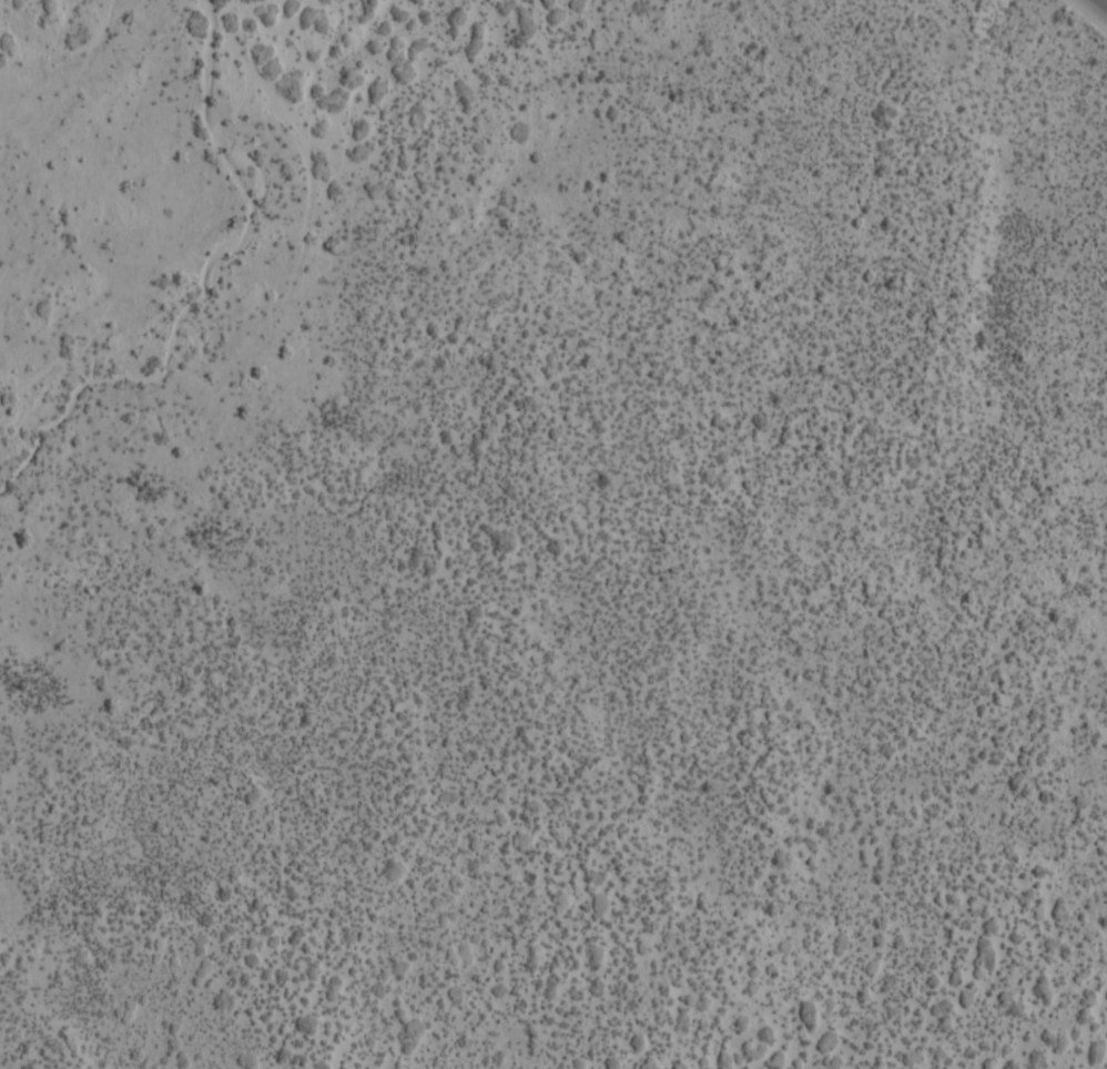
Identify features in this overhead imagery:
road: (1105, 1)

